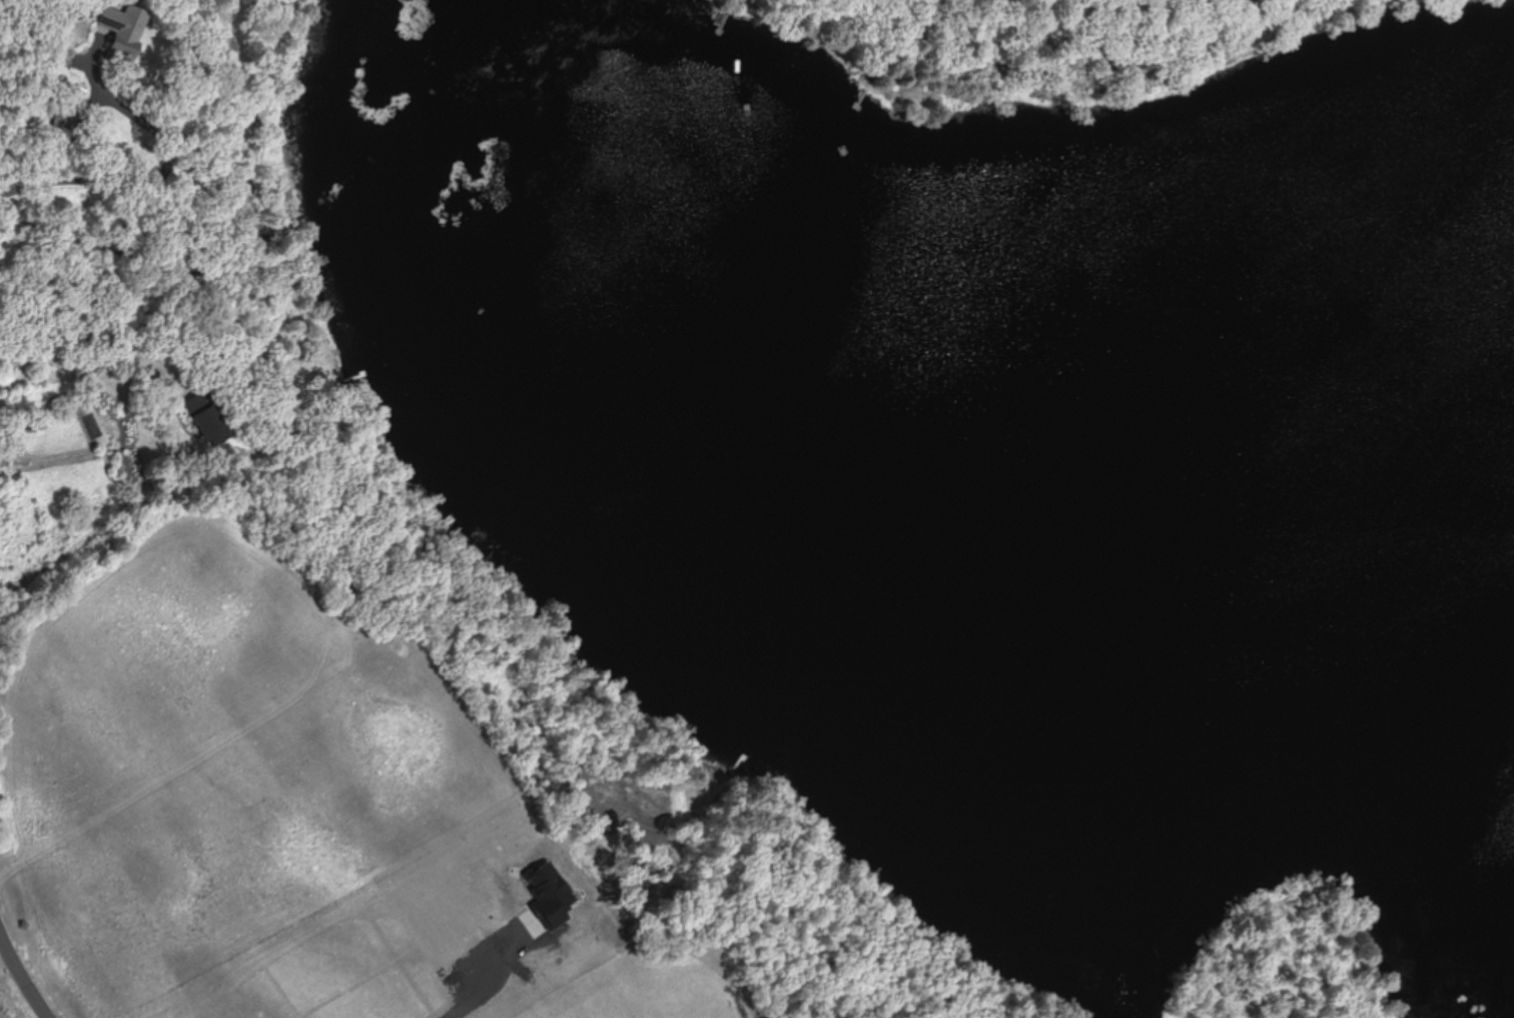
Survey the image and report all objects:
building: (124, 35)
road: (130, 179)
road: (85, 353)
building: (208, 417)
road: (22, 973)
road: (478, 973)

